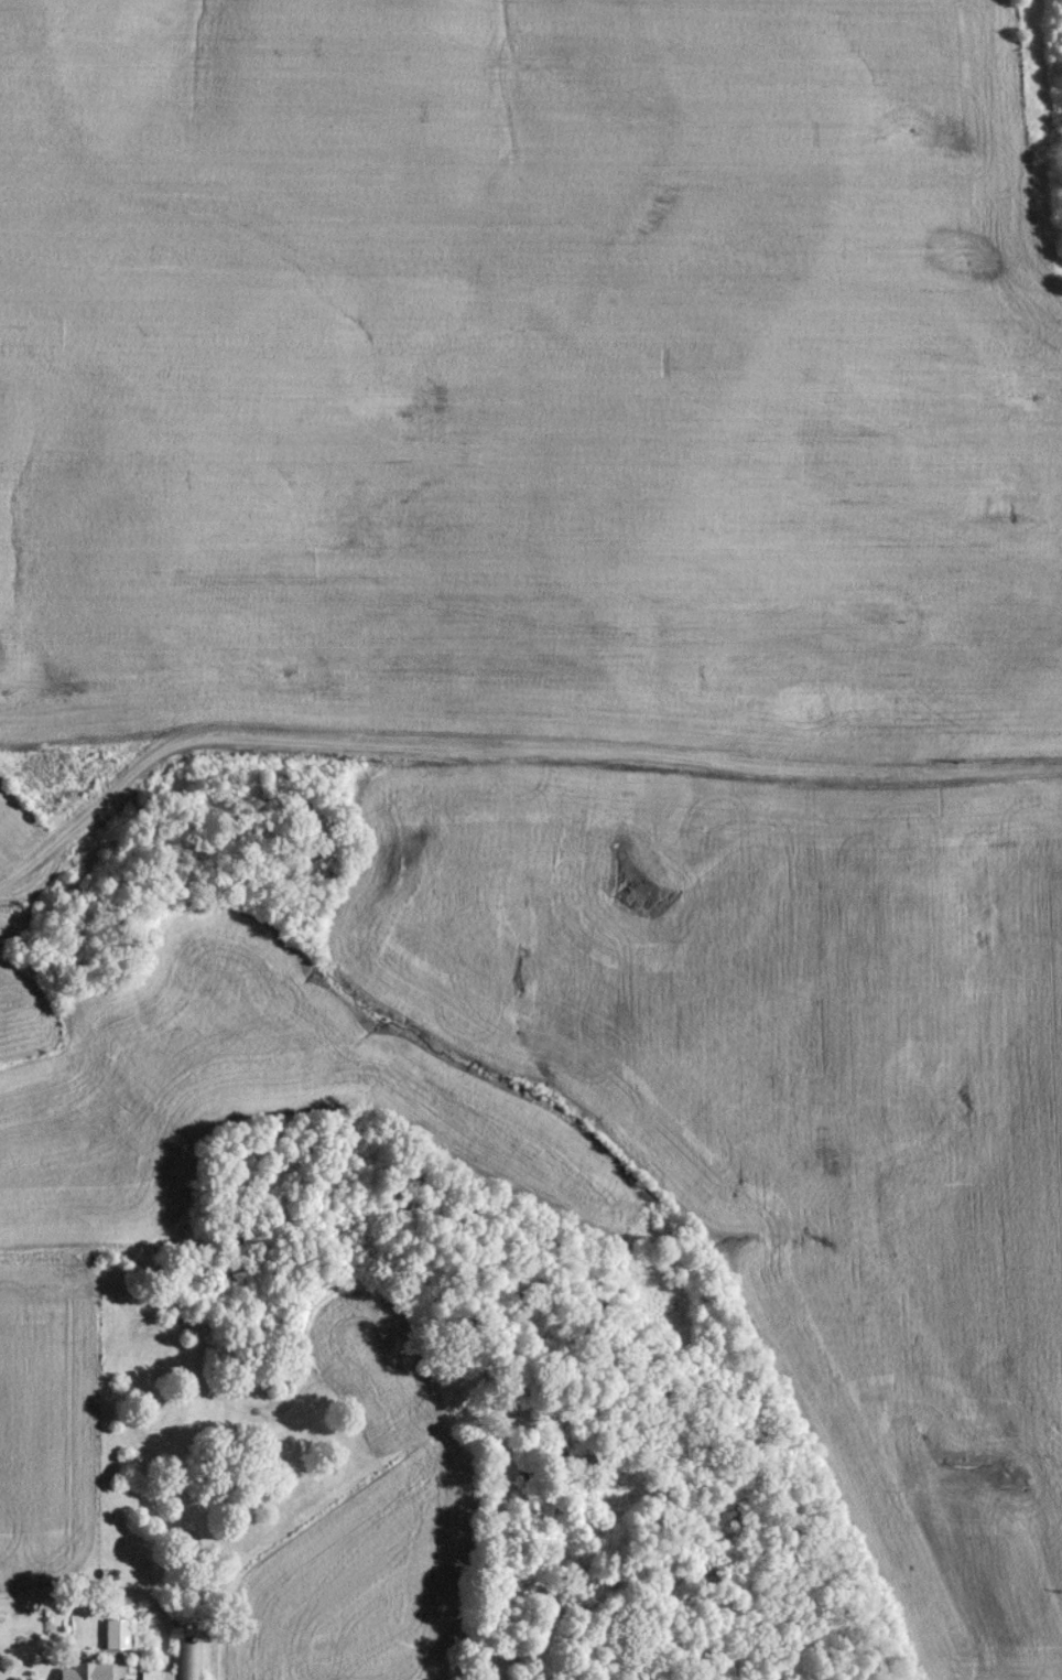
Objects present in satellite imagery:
road: (505, 753)
building: (116, 1640)
building: (183, 1665)
building: (76, 1676)

